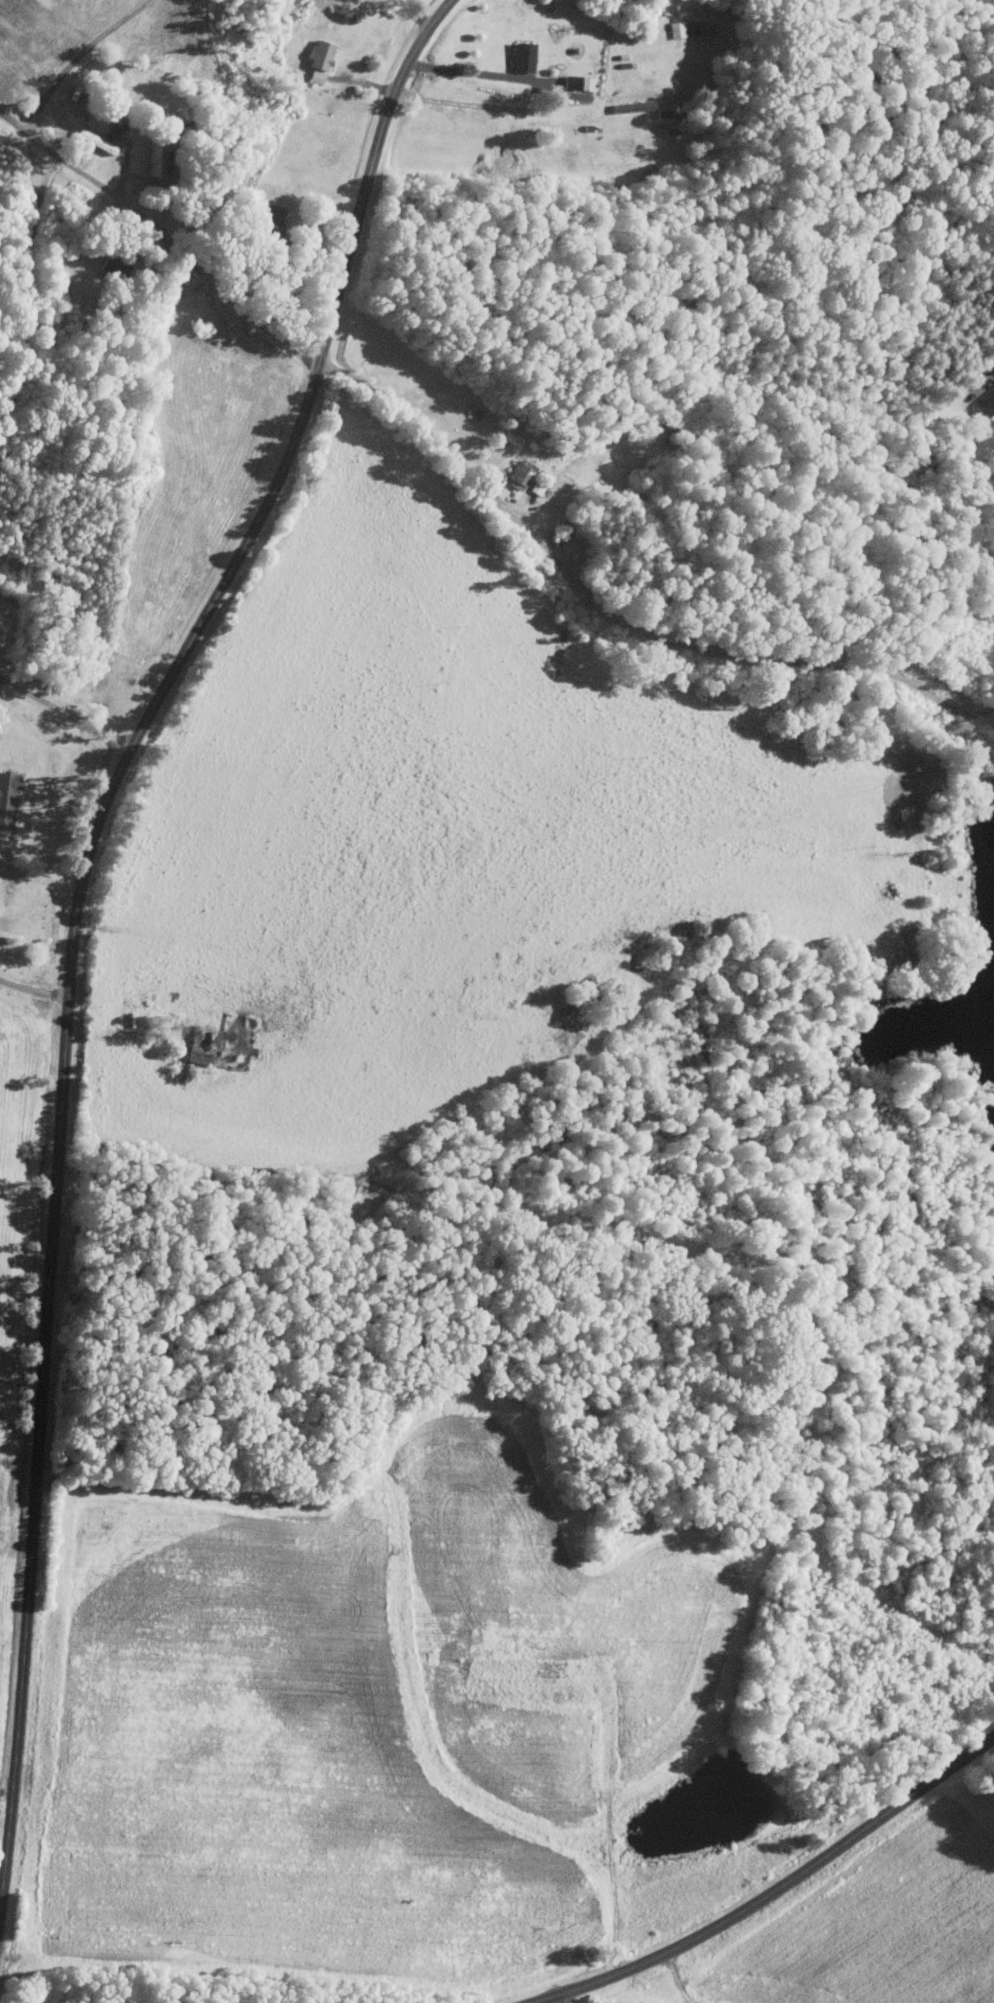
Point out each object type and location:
road: (419, 12)
building: (700, 27)
building: (676, 28)
building: (318, 54)
road: (76, 56)
building: (521, 56)
road: (478, 71)
building: (315, 75)
road: (457, 102)
building: (631, 106)
building: (93, 141)
building: (151, 159)
building: (268, 219)
road: (158, 238)
road: (30, 289)
building: (985, 404)
building: (520, 475)
road: (614, 616)
road: (67, 711)
building: (6, 797)
road: (41, 880)
road: (81, 925)
road: (34, 990)
building: (213, 1038)
building: (193, 1046)
road: (773, 1891)
road: (550, 2000)

